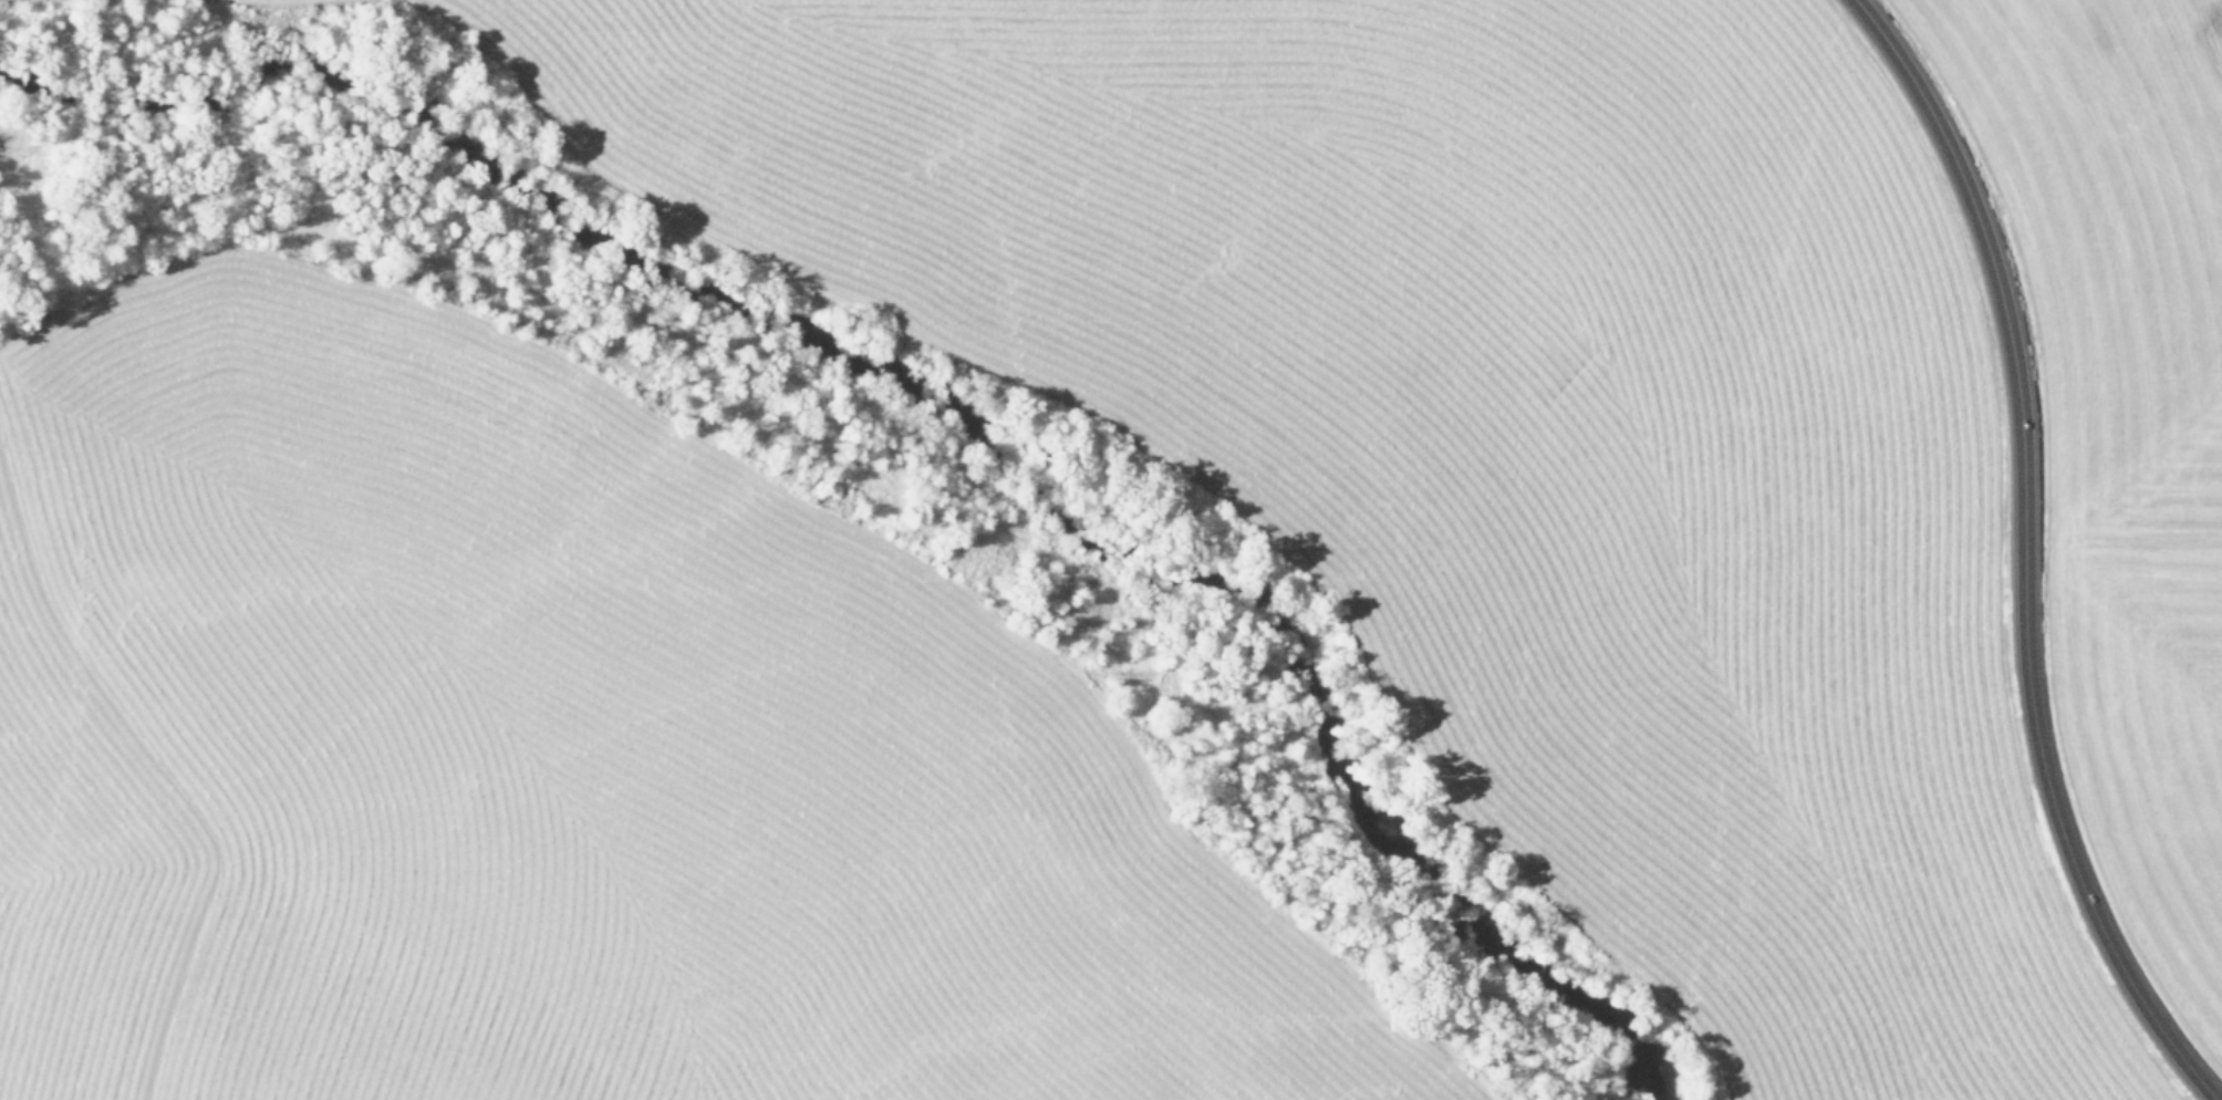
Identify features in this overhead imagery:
crop: (1622, 433)
road: (2017, 554)

